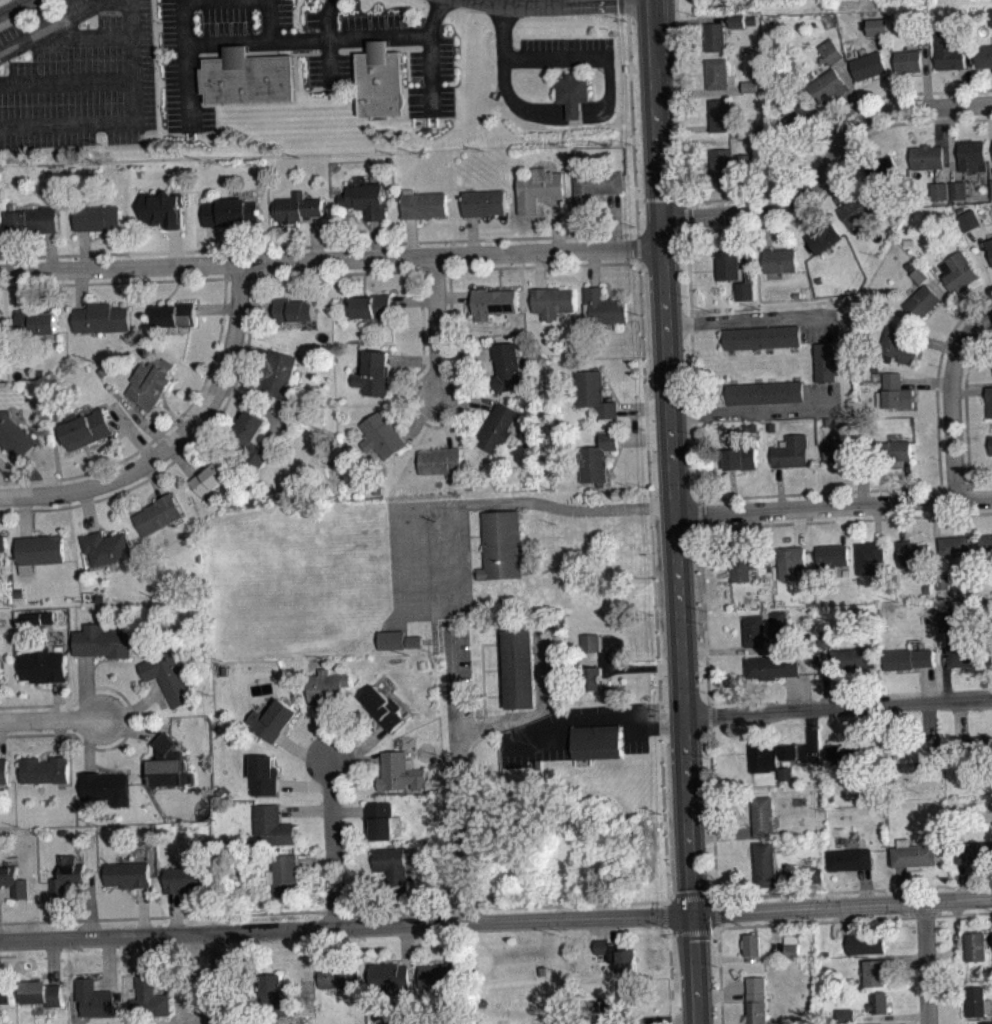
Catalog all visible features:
road: (546, 0)
road: (567, 0)
road: (10, 5)
building: (991, 16)
road: (687, 19)
building: (736, 19)
road: (267, 20)
road: (51, 25)
building: (877, 25)
building: (737, 26)
road: (72, 34)
building: (715, 35)
building: (921, 35)
road: (327, 37)
road: (306, 39)
parking lot: (564, 49)
building: (831, 50)
building: (949, 50)
road: (591, 51)
road: (429, 52)
building: (984, 54)
road: (184, 58)
road: (129, 59)
building: (908, 59)
building: (868, 64)
parking lot: (328, 66)
road: (888, 70)
building: (717, 72)
parking lot: (179, 73)
road: (926, 74)
parking lot: (77, 75)
building: (248, 77)
road: (65, 80)
road: (502, 80)
building: (381, 81)
building: (827, 84)
building: (749, 85)
road: (962, 85)
road: (852, 88)
road: (697, 91)
building: (573, 92)
road: (679, 100)
road: (574, 108)
building: (720, 114)
road: (991, 119)
road: (66, 121)
building: (795, 121)
road: (682, 127)
road: (826, 129)
road: (829, 131)
road: (952, 141)
road: (945, 142)
road: (858, 148)
building: (971, 153)
building: (928, 155)
building: (748, 160)
road: (826, 161)
building: (722, 162)
road: (838, 170)
building: (885, 171)
building: (991, 184)
building: (538, 187)
building: (595, 188)
building: (959, 188)
road: (829, 189)
building: (940, 189)
road: (744, 190)
road: (668, 198)
road: (680, 198)
building: (365, 199)
building: (483, 202)
building: (423, 204)
building: (296, 207)
building: (163, 208)
building: (857, 209)
building: (230, 211)
road: (689, 215)
building: (96, 217)
road: (799, 217)
building: (970, 218)
building: (33, 219)
road: (614, 219)
road: (557, 221)
road: (767, 229)
road: (471, 234)
road: (554, 236)
building: (824, 236)
road: (315, 237)
road: (410, 237)
road: (375, 238)
road: (211, 244)
building: (990, 245)
road: (742, 246)
road: (235, 247)
road: (83, 248)
road: (49, 250)
road: (984, 250)
building: (990, 251)
road: (331, 259)
building: (780, 259)
road: (543, 264)
building: (727, 264)
road: (593, 266)
road: (538, 268)
building: (959, 270)
road: (350, 273)
building: (920, 275)
road: (111, 281)
road: (79, 287)
road: (22, 289)
building: (744, 289)
road: (454, 295)
road: (413, 300)
building: (552, 300)
building: (493, 301)
building: (923, 301)
road: (950, 302)
road: (968, 304)
building: (605, 306)
road: (256, 307)
building: (372, 307)
road: (216, 308)
building: (293, 310)
building: (176, 315)
building: (101, 317)
road: (748, 319)
building: (35, 322)
road: (436, 323)
road: (985, 329)
building: (762, 336)
road: (932, 340)
building: (897, 345)
road: (250, 349)
road: (464, 355)
road: (413, 359)
building: (825, 361)
building: (506, 366)
building: (279, 373)
building: (374, 374)
road: (937, 378)
building: (150, 381)
road: (926, 381)
road: (968, 390)
building: (764, 391)
building: (894, 391)
building: (594, 392)
road: (951, 397)
road: (467, 399)
building: (989, 400)
road: (965, 401)
road: (254, 406)
road: (754, 413)
road: (419, 415)
road: (113, 418)
road: (446, 420)
road: (172, 422)
road: (143, 423)
road: (439, 425)
building: (84, 426)
building: (496, 427)
road: (132, 433)
road: (269, 433)
building: (381, 435)
building: (14, 436)
building: (251, 436)
road: (177, 438)
building: (991, 443)
road: (187, 447)
road: (647, 449)
building: (792, 450)
building: (844, 450)
building: (892, 450)
road: (672, 455)
building: (597, 457)
building: (741, 457)
road: (181, 460)
building: (441, 461)
road: (697, 466)
road: (44, 470)
road: (15, 476)
building: (209, 476)
road: (155, 478)
road: (907, 480)
road: (860, 481)
road: (779, 487)
road: (732, 489)
road: (845, 489)
road: (536, 500)
road: (833, 505)
road: (87, 510)
building: (158, 514)
road: (24, 515)
road: (845, 518)
road: (901, 520)
road: (877, 521)
road: (842, 524)
road: (798, 526)
road: (750, 529)
road: (936, 536)
building: (986, 540)
building: (2, 543)
building: (502, 544)
building: (954, 545)
building: (106, 548)
building: (40, 549)
building: (912, 553)
building: (868, 556)
building: (830, 559)
building: (790, 560)
building: (742, 563)
building: (0, 577)
building: (943, 580)
building: (17, 592)
building: (100, 598)
building: (47, 617)
building: (31, 618)
building: (778, 618)
building: (947, 619)
building: (39, 624)
building: (754, 630)
building: (823, 637)
building: (390, 639)
building: (413, 640)
building: (591, 641)
building: (103, 642)
building: (415, 648)
road: (736, 648)
building: (969, 654)
building: (852, 657)
building: (907, 657)
road: (944, 664)
building: (44, 665)
road: (634, 666)
building: (772, 666)
building: (518, 667)
building: (0, 676)
road: (825, 676)
building: (592, 677)
building: (169, 678)
road: (926, 683)
building: (327, 687)
road: (111, 688)
road: (86, 689)
road: (791, 692)
road: (159, 696)
road: (58, 701)
road: (136, 706)
road: (837, 706)
building: (383, 708)
road: (708, 714)
road: (596, 716)
road: (960, 717)
road: (51, 720)
road: (927, 720)
building: (273, 721)
road: (860, 723)
road: (130, 729)
road: (323, 733)
road: (37, 734)
parking lot: (534, 735)
road: (810, 736)
road: (60, 738)
road: (0, 740)
building: (596, 741)
road: (88, 743)
building: (972, 746)
road: (359, 748)
building: (913, 749)
road: (302, 752)
building: (848, 752)
building: (771, 757)
road: (355, 763)
building: (168, 765)
building: (45, 770)
building: (3, 771)
building: (400, 773)
building: (263, 775)
road: (457, 777)
building: (785, 779)
road: (304, 785)
building: (106, 788)
road: (348, 810)
road: (305, 811)
road: (713, 811)
building: (762, 815)
building: (381, 820)
building: (272, 825)
road: (721, 832)
road: (332, 843)
building: (973, 851)
building: (914, 854)
building: (850, 858)
road: (315, 860)
building: (765, 863)
building: (392, 867)
building: (814, 872)
building: (127, 874)
building: (282, 874)
building: (66, 875)
building: (185, 879)
road: (965, 880)
building: (14, 881)
road: (793, 882)
road: (900, 884)
road: (864, 886)
road: (77, 889)
road: (854, 889)
road: (6, 891)
road: (692, 893)
road: (566, 903)
road: (843, 904)
road: (90, 907)
road: (398, 908)
road: (720, 911)
road: (142, 912)
traffic signals: (694, 912)
road: (174, 913)
road: (232, 913)
road: (663, 913)
road: (855, 918)
road: (850, 919)
road: (346, 925)
road: (601, 927)
road: (693, 931)
road: (956, 938)
road: (455, 941)
building: (866, 943)
building: (752, 944)
road: (404, 945)
building: (792, 945)
building: (975, 945)
road: (325, 947)
road: (775, 952)
road: (144, 954)
building: (617, 954)
road: (7, 955)
road: (755, 957)
road: (53, 962)
road: (905, 962)
road: (925, 962)
road: (108, 964)
road: (695, 968)
building: (875, 972)
road: (670, 973)
building: (389, 975)
road: (720, 975)
building: (339, 976)
building: (442, 976)
road: (215, 978)
building: (42, 993)
building: (628, 993)
road: (722, 993)
building: (6, 994)
building: (275, 997)
building: (149, 998)
building: (94, 999)
building: (757, 1000)
building: (880, 1002)
building: (978, 1002)
building: (590, 1008)
road: (239, 1010)
building: (607, 1012)
road: (608, 1012)
building: (847, 1015)
road: (891, 1016)
road: (654, 1020)
road: (974, 1020)
building: (986, 1022)

